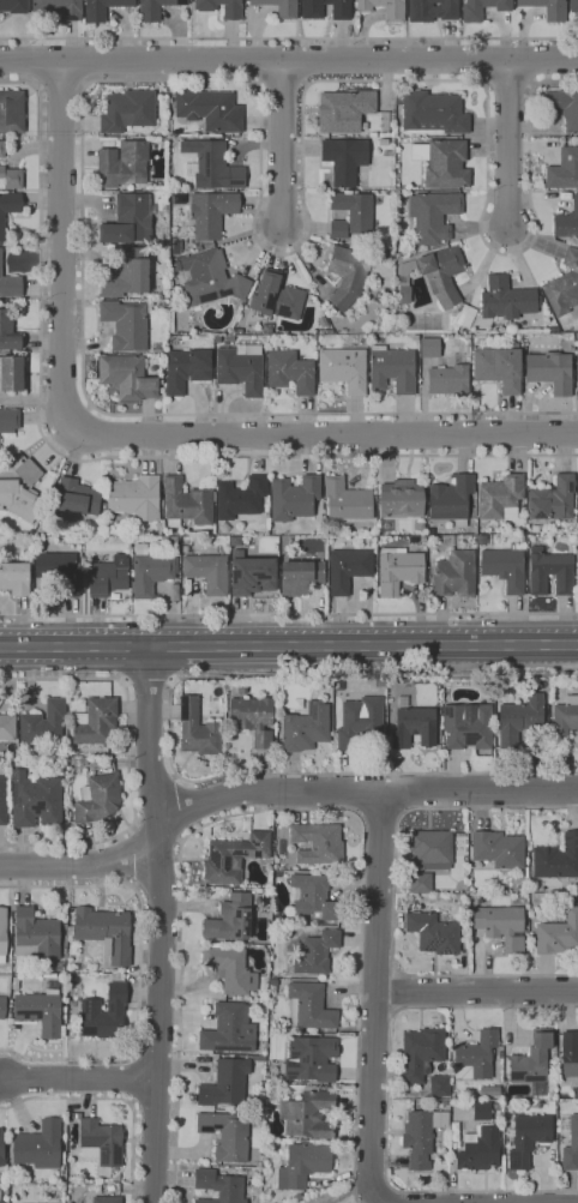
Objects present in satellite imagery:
building: (573, 5)
building: (14, 6)
building: (59, 7)
building: (281, 7)
building: (103, 8)
building: (155, 8)
building: (395, 8)
building: (548, 8)
building: (432, 10)
building: (233, 11)
building: (312, 11)
building: (472, 17)
road: (289, 38)
road: (289, 60)
road: (249, 82)
road: (61, 85)
building: (398, 100)
building: (565, 107)
building: (210, 109)
building: (343, 109)
building: (127, 110)
building: (12, 112)
building: (434, 112)
building: (384, 122)
building: (384, 142)
road: (282, 143)
road: (507, 143)
building: (2, 149)
building: (345, 158)
building: (444, 162)
building: (122, 164)
building: (211, 166)
building: (564, 170)
building: (11, 179)
building: (179, 199)
building: (8, 207)
building: (354, 210)
building: (211, 213)
building: (433, 216)
building: (128, 219)
building: (567, 222)
building: (338, 229)
road: (62, 243)
building: (176, 247)
building: (127, 275)
building: (348, 275)
building: (434, 275)
building: (211, 278)
building: (10, 283)
building: (564, 284)
building: (276, 297)
building: (506, 299)
building: (465, 317)
building: (125, 324)
building: (8, 330)
building: (554, 330)
building: (237, 331)
building: (230, 338)
building: (217, 339)
building: (429, 347)
building: (499, 366)
building: (577, 367)
building: (241, 368)
building: (344, 368)
building: (186, 369)
building: (392, 369)
building: (550, 371)
building: (289, 372)
building: (11, 373)
building: (126, 377)
building: (450, 380)
building: (8, 420)
road: (324, 434)
road: (110, 458)
building: (29, 471)
building: (577, 487)
building: (77, 497)
building: (501, 497)
building: (137, 498)
building: (240, 498)
building: (294, 498)
building: (553, 498)
building: (451, 499)
building: (19, 500)
building: (347, 500)
building: (401, 500)
building: (187, 503)
building: (104, 507)
building: (224, 528)
building: (472, 531)
building: (315, 541)
building: (169, 543)
building: (504, 567)
building: (348, 569)
building: (149, 571)
building: (398, 571)
building: (207, 572)
building: (550, 572)
building: (252, 573)
building: (454, 573)
building: (56, 575)
building: (108, 576)
building: (300, 576)
building: (14, 578)
road: (289, 614)
road: (288, 645)
road: (149, 684)
building: (390, 715)
building: (566, 716)
building: (336, 717)
building: (254, 718)
building: (519, 720)
building: (95, 721)
building: (360, 721)
building: (43, 723)
building: (466, 726)
building: (7, 727)
building: (415, 727)
road: (169, 728)
building: (306, 728)
building: (198, 729)
building: (67, 734)
building: (31, 750)
building: (70, 750)
road: (128, 760)
road: (277, 792)
building: (97, 799)
building: (2, 800)
building: (35, 800)
road: (282, 807)
road: (174, 810)
road: (381, 814)
building: (317, 843)
building: (431, 849)
building: (499, 849)
building: (234, 858)
building: (556, 859)
building: (421, 883)
road: (395, 894)
building: (574, 895)
building: (313, 897)
building: (413, 900)
building: (230, 919)
road: (162, 925)
building: (501, 926)
building: (70, 931)
building: (104, 932)
building: (434, 933)
building: (558, 933)
building: (2, 934)
building: (36, 934)
building: (315, 952)
building: (230, 968)
road: (140, 969)
building: (14, 984)
road: (477, 990)
road: (401, 991)
road: (377, 997)
building: (2, 1006)
building: (309, 1006)
building: (41, 1009)
building: (104, 1013)
building: (229, 1029)
building: (422, 1052)
building: (570, 1053)
building: (476, 1057)
building: (311, 1059)
building: (532, 1064)
building: (553, 1065)
building: (558, 1065)
road: (79, 1078)
building: (224, 1084)
building: (439, 1085)
building: (489, 1091)
building: (574, 1093)
building: (453, 1095)
road: (116, 1097)
road: (389, 1101)
building: (482, 1111)
building: (496, 1112)
building: (308, 1113)
building: (227, 1135)
building: (421, 1136)
building: (528, 1138)
building: (101, 1142)
building: (570, 1143)
building: (38, 1145)
building: (1, 1148)
building: (480, 1149)
building: (303, 1165)
building: (219, 1186)
building: (107, 1199)
building: (1, 1202)
road: (383, 1202)

